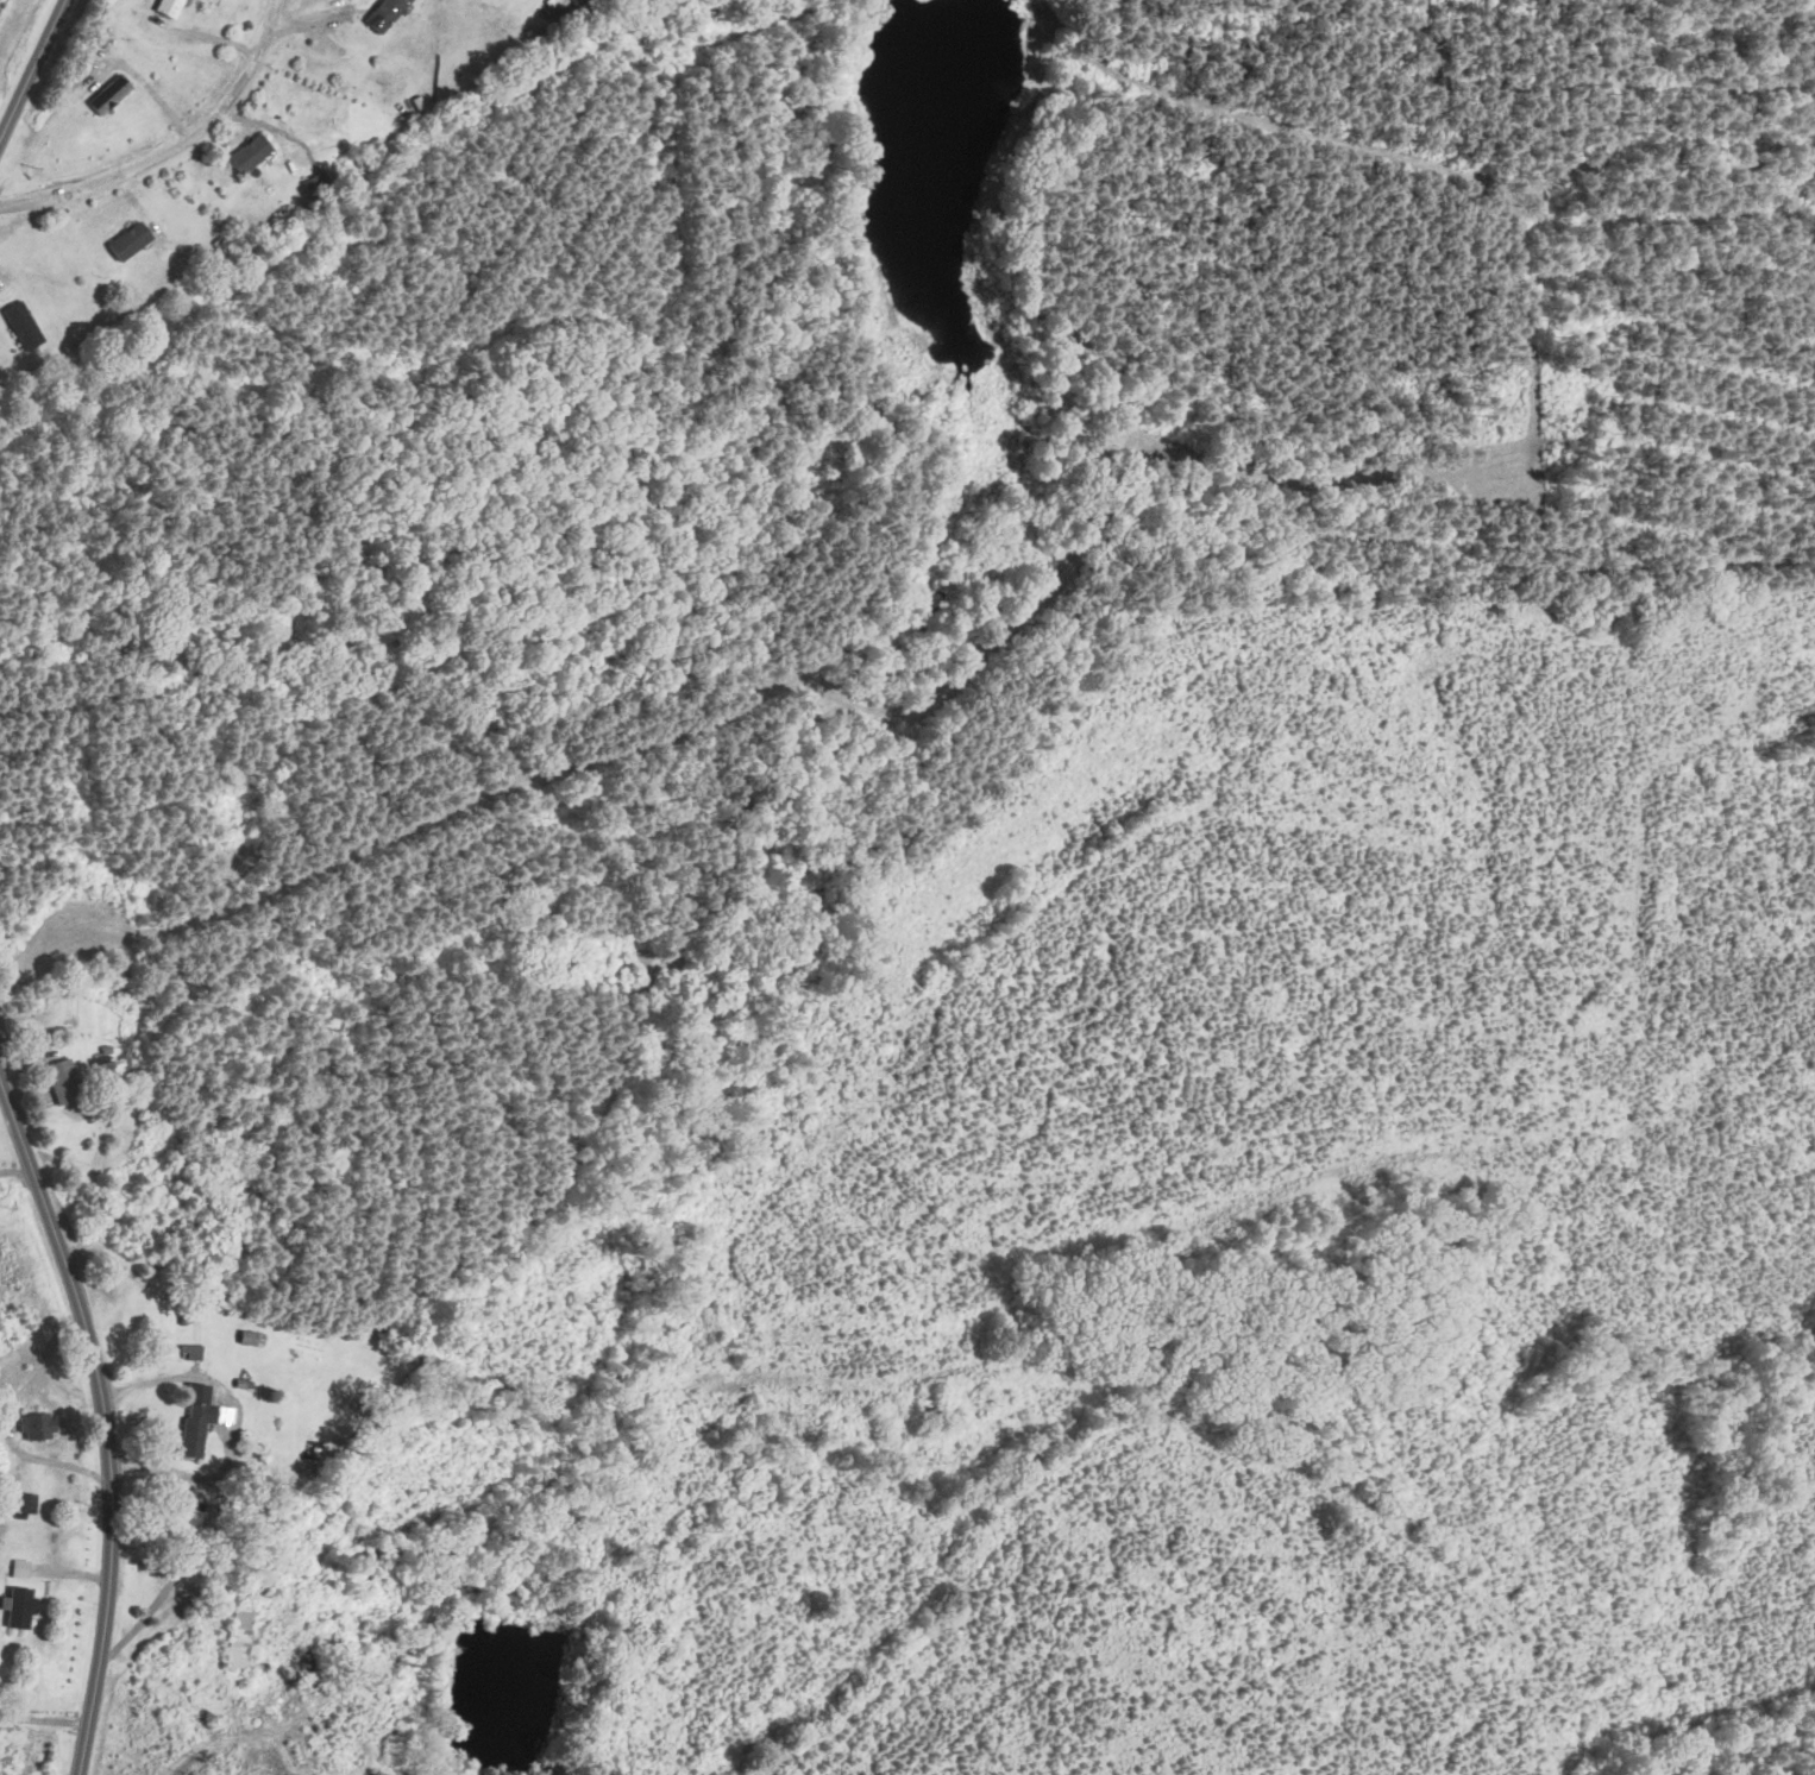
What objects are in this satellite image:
building: (172, 7)
building: (389, 14)
road: (31, 68)
building: (114, 95)
road: (175, 147)
building: (253, 153)
building: (319, 183)
building: (133, 241)
building: (26, 326)
building: (67, 1082)
building: (132, 1118)
building: (252, 1339)
building: (203, 1418)
road: (103, 1421)
road: (226, 1425)
building: (39, 1427)
building: (20, 1568)
building: (21, 1609)
building: (241, 1638)
road: (43, 1719)

